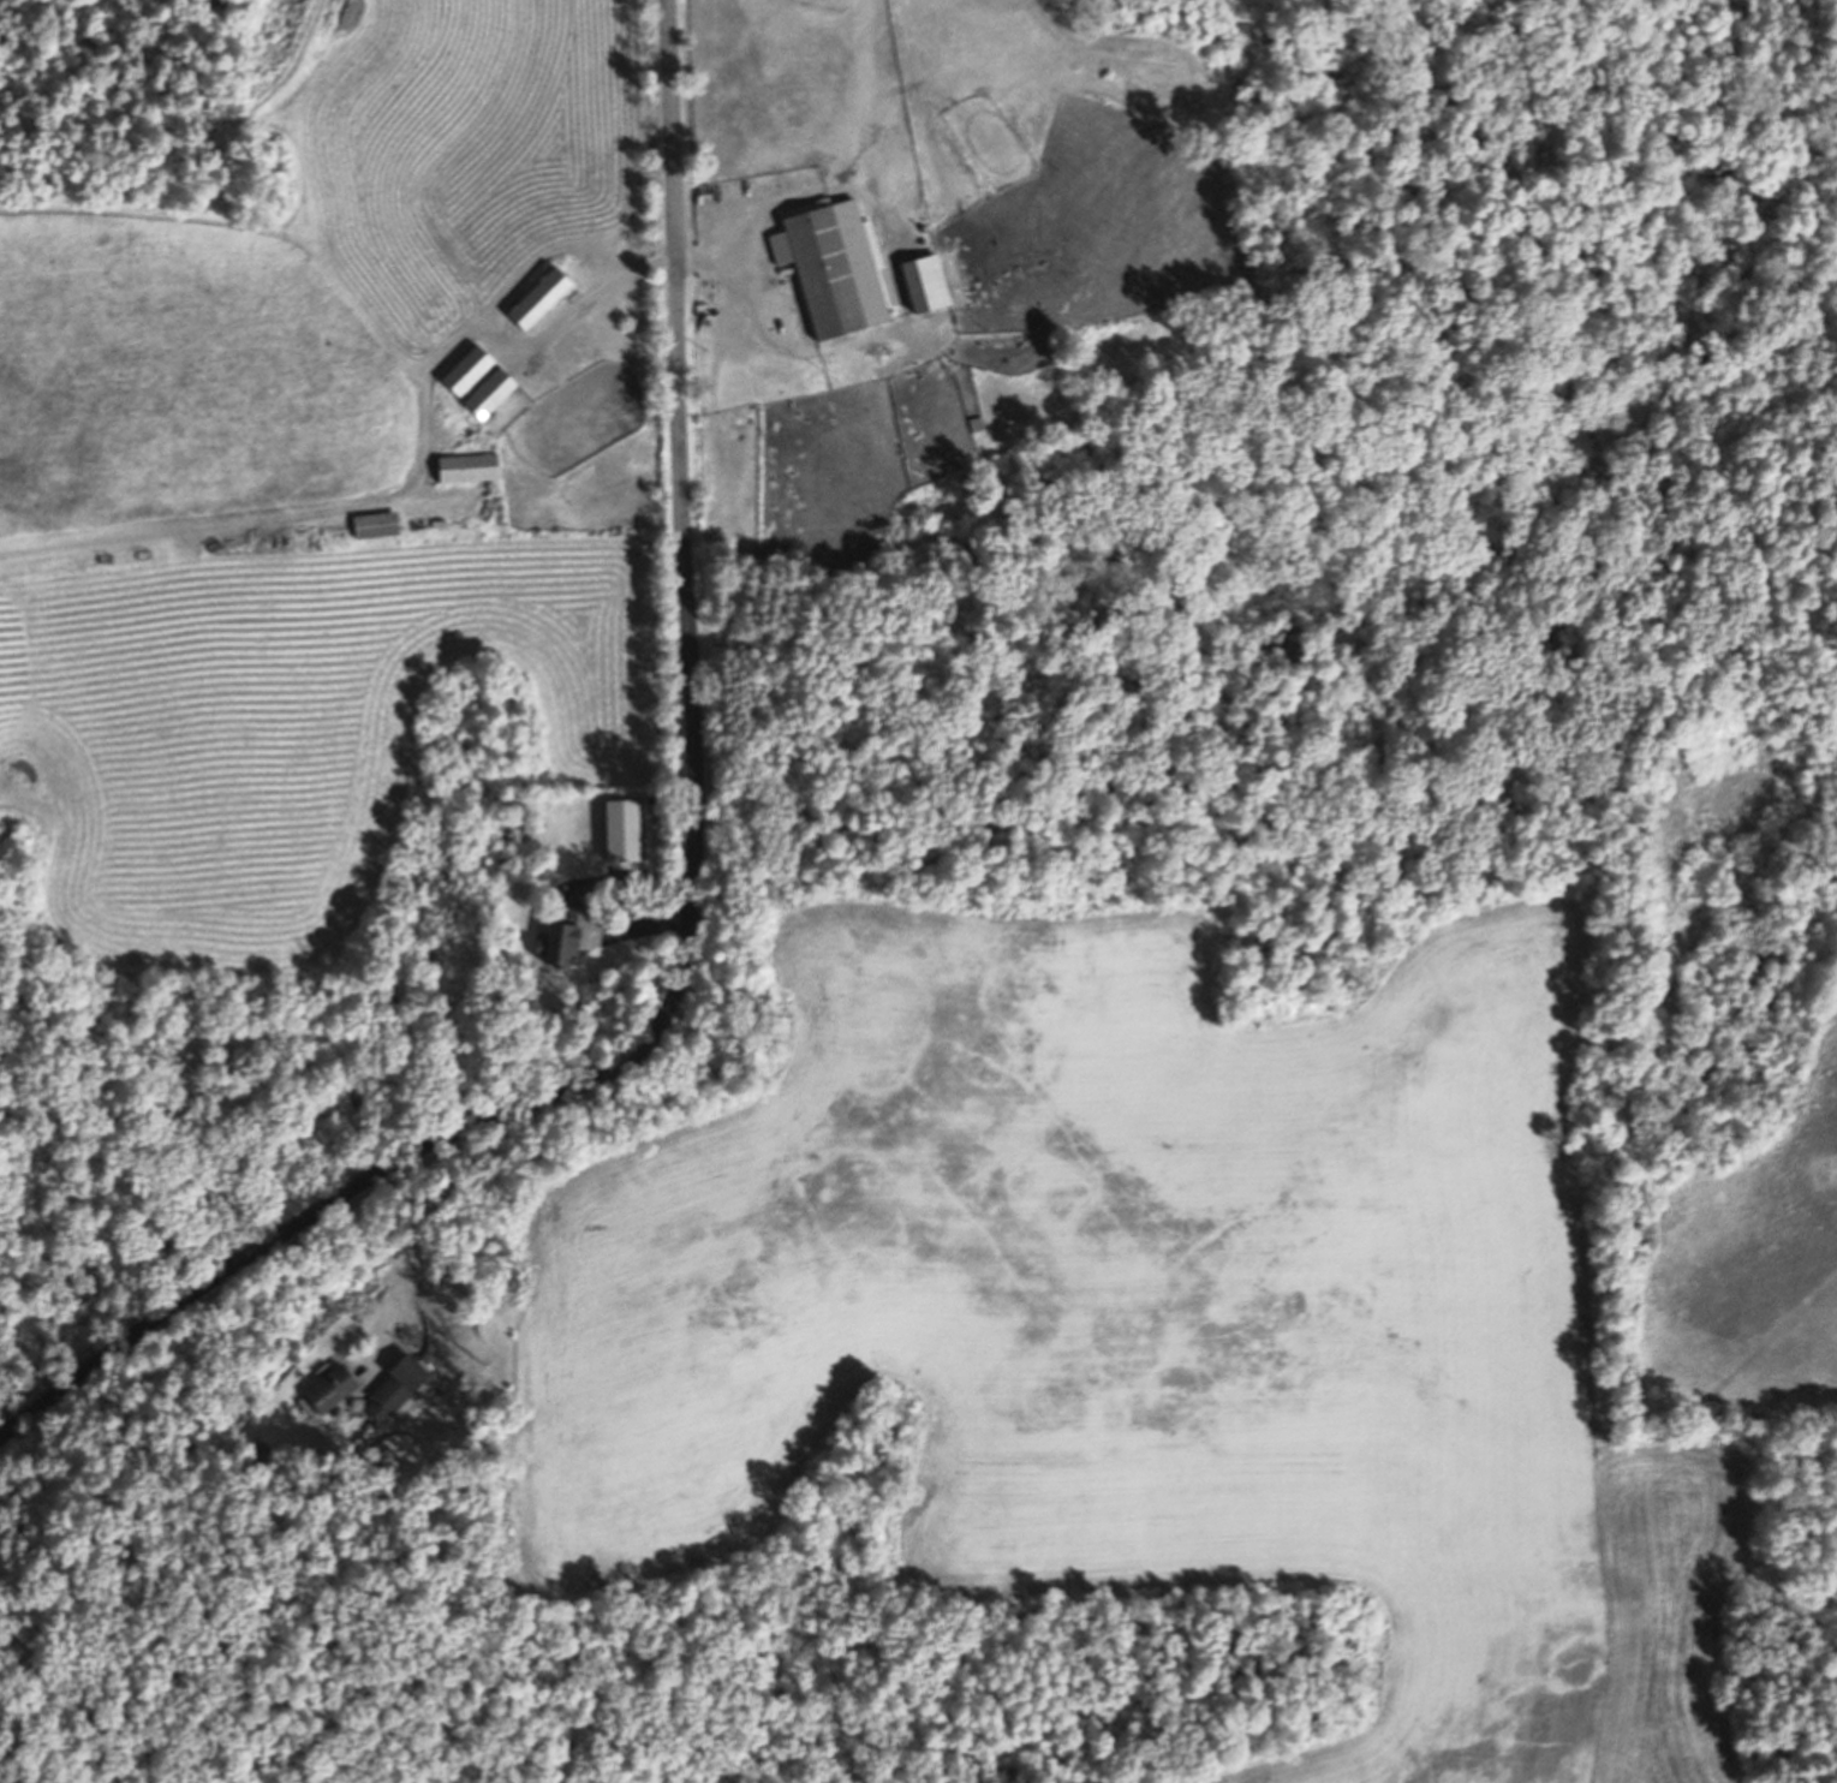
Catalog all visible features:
building: (840, 268)
building: (932, 282)
building: (541, 297)
road: (496, 336)
building: (469, 369)
building: (490, 392)
building: (469, 467)
building: (440, 521)
building: (383, 524)
building: (628, 833)
road: (692, 908)
building: (559, 942)
road: (425, 1228)
building: (410, 1371)
building: (330, 1388)
building: (400, 1388)

